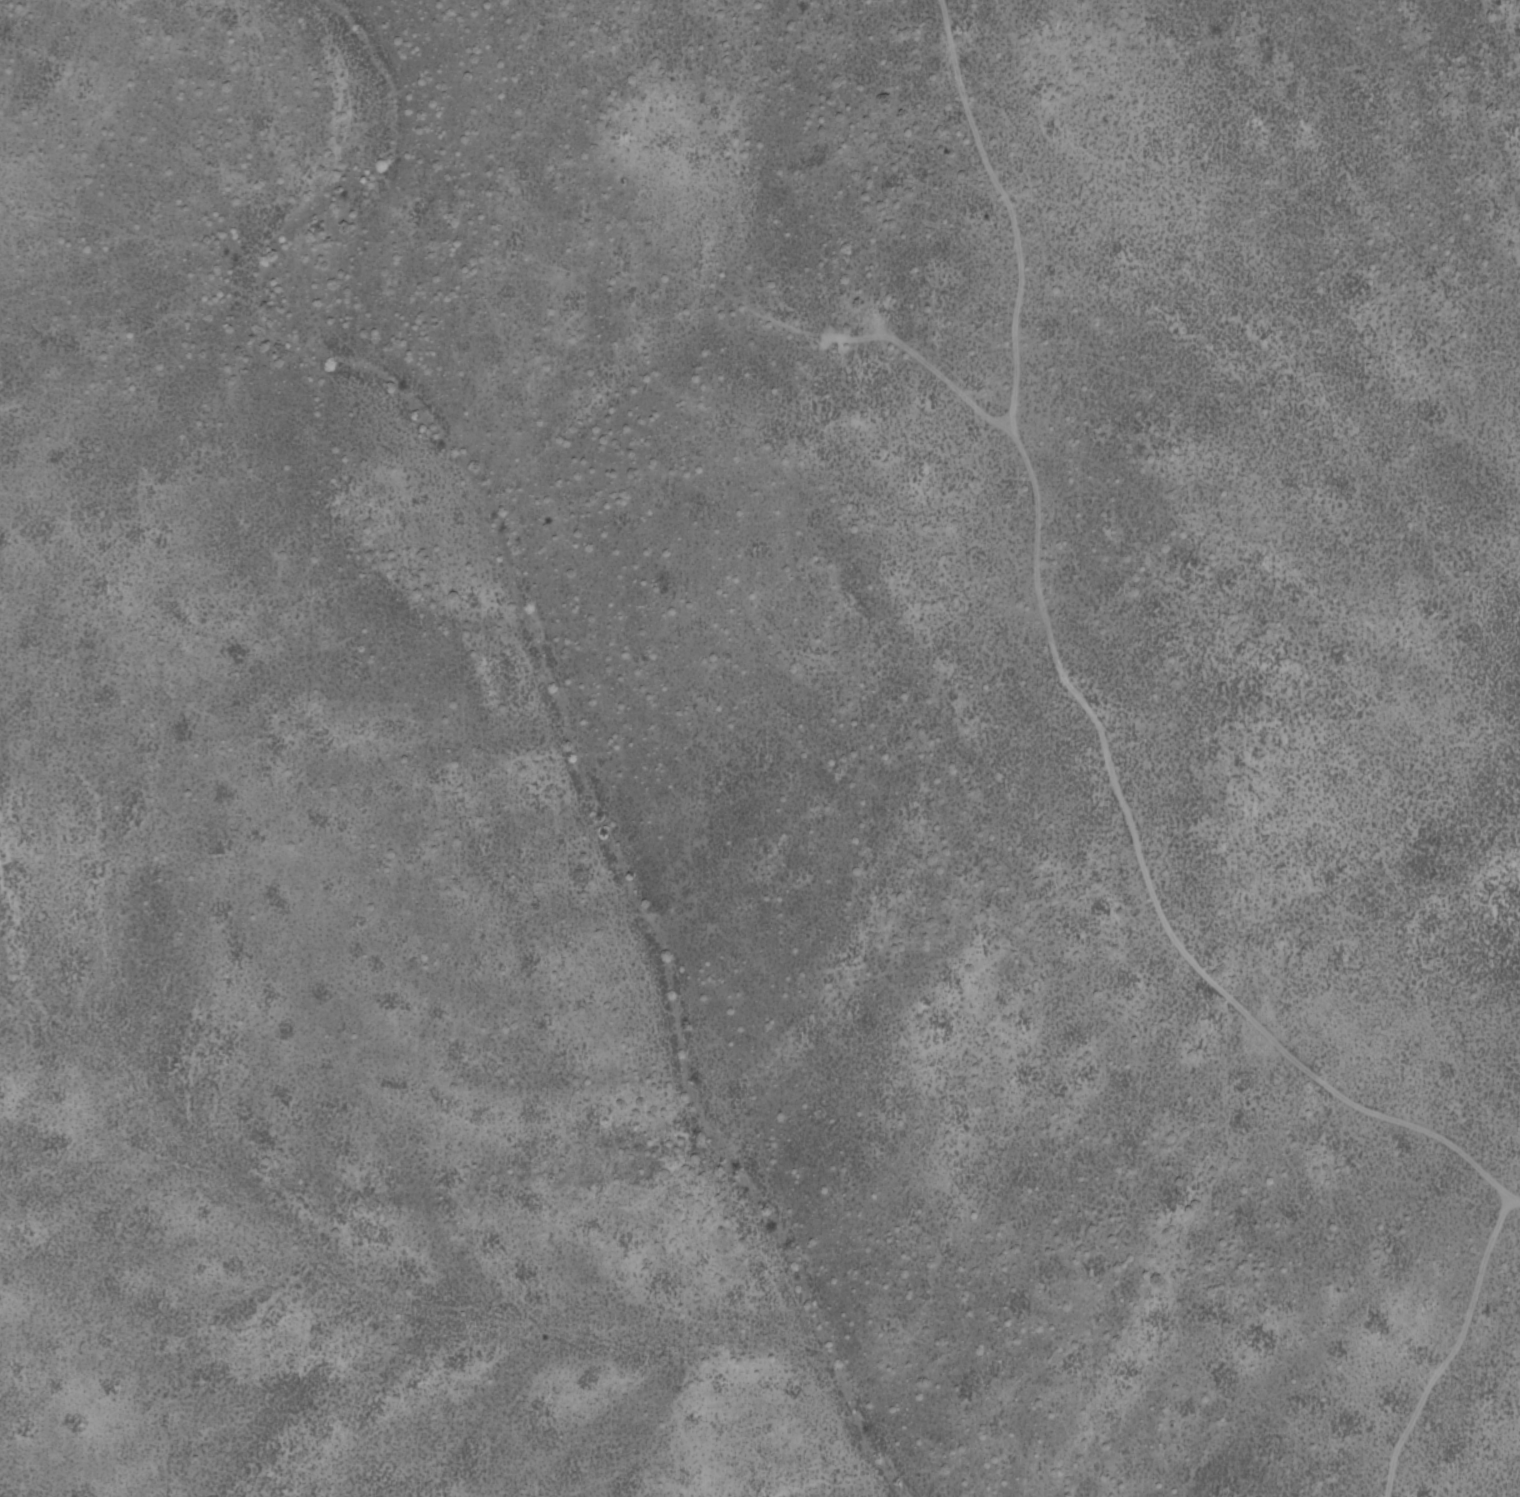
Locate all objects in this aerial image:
road: (1100, 641)

